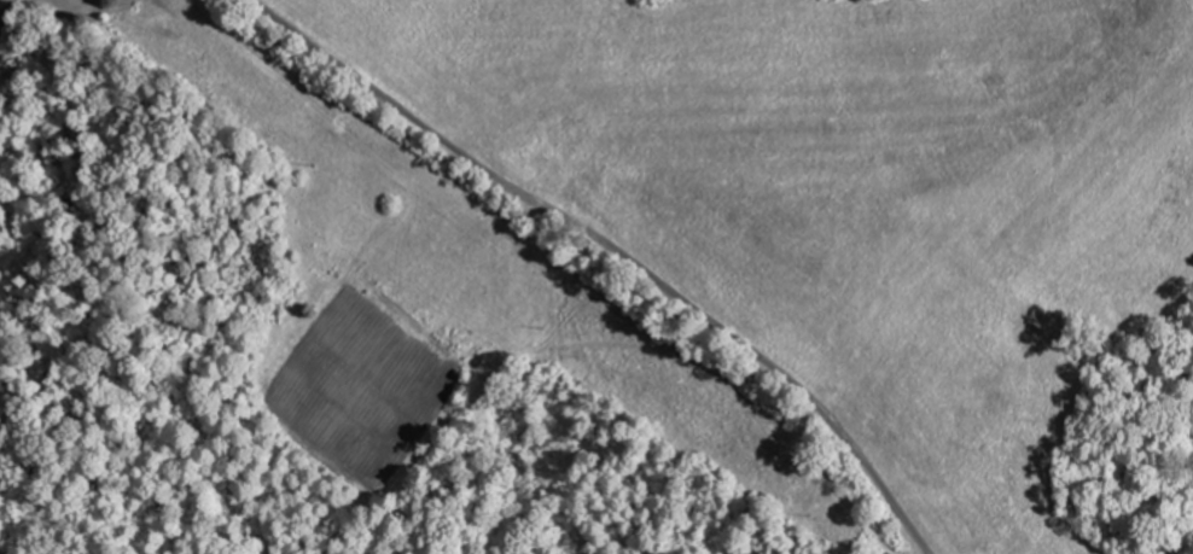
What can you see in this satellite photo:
road: (613, 249)

